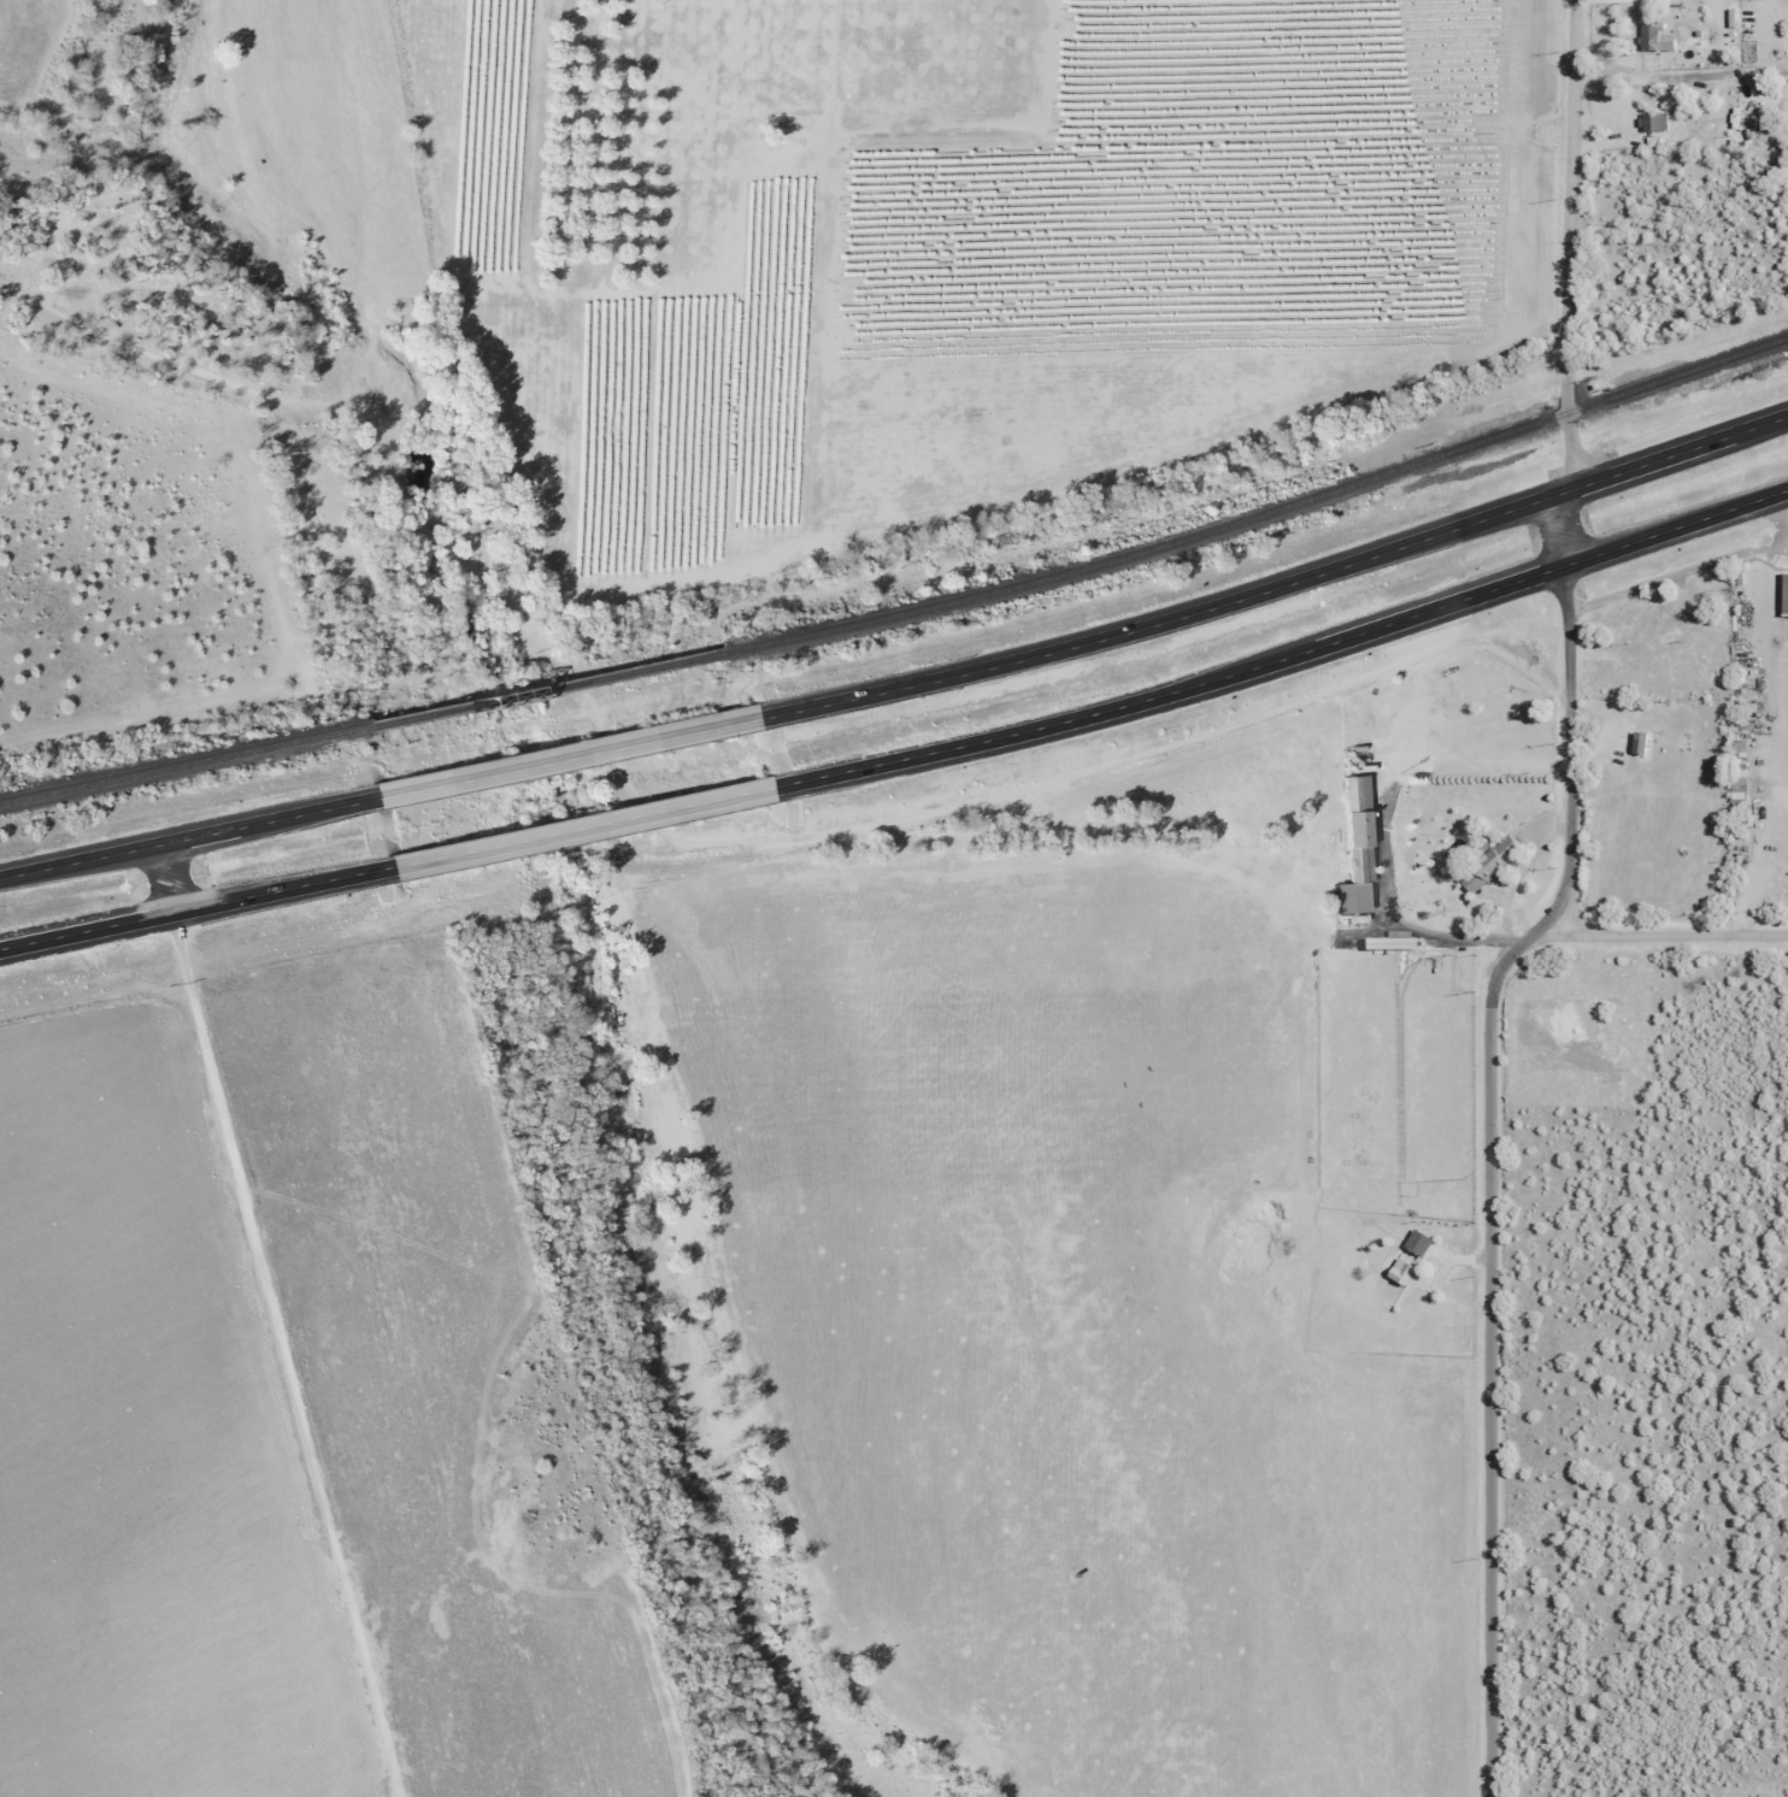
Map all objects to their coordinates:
building: (1649, 35)
building: (1653, 120)
road: (1571, 199)
road: (1574, 441)
road: (1566, 489)
railway: (1261, 512)
road: (1565, 526)
road: (1565, 564)
building: (1783, 594)
building: (1721, 607)
road: (1052, 652)
railway: (543, 691)
road: (1058, 723)
building: (1637, 742)
road: (571, 754)
railway: (181, 767)
building: (1736, 767)
road: (572, 829)
road: (195, 835)
building: (1354, 847)
building: (1488, 864)
road: (167, 878)
road: (188, 909)
road: (1570, 933)
road: (1670, 933)
road: (1493, 1167)
building: (1404, 1266)
road: (293, 1354)

